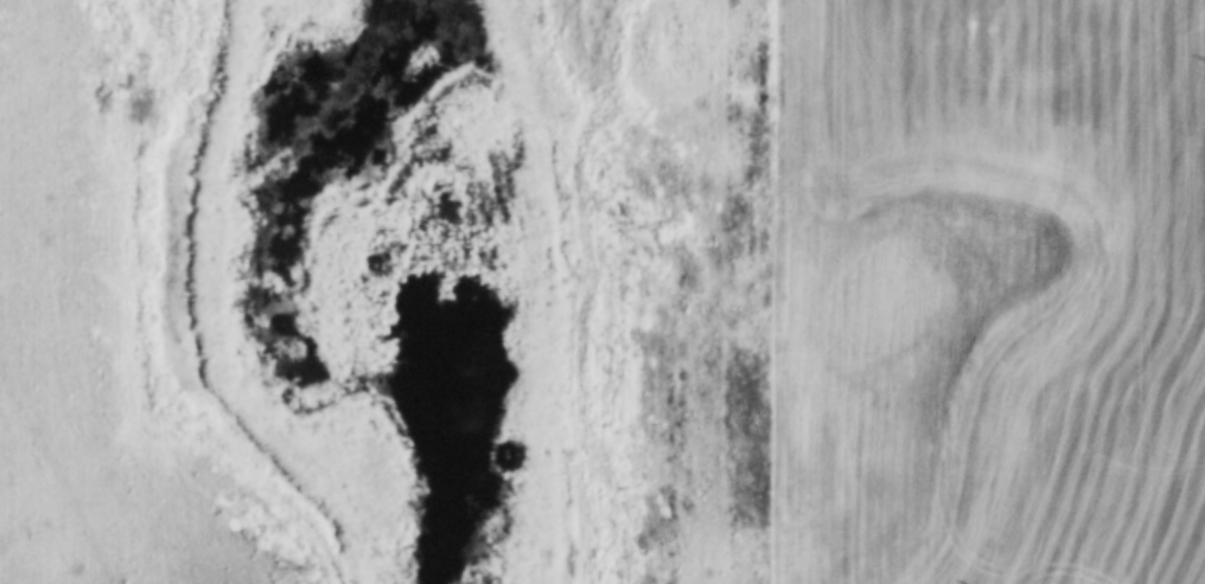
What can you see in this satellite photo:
road: (793, 291)

